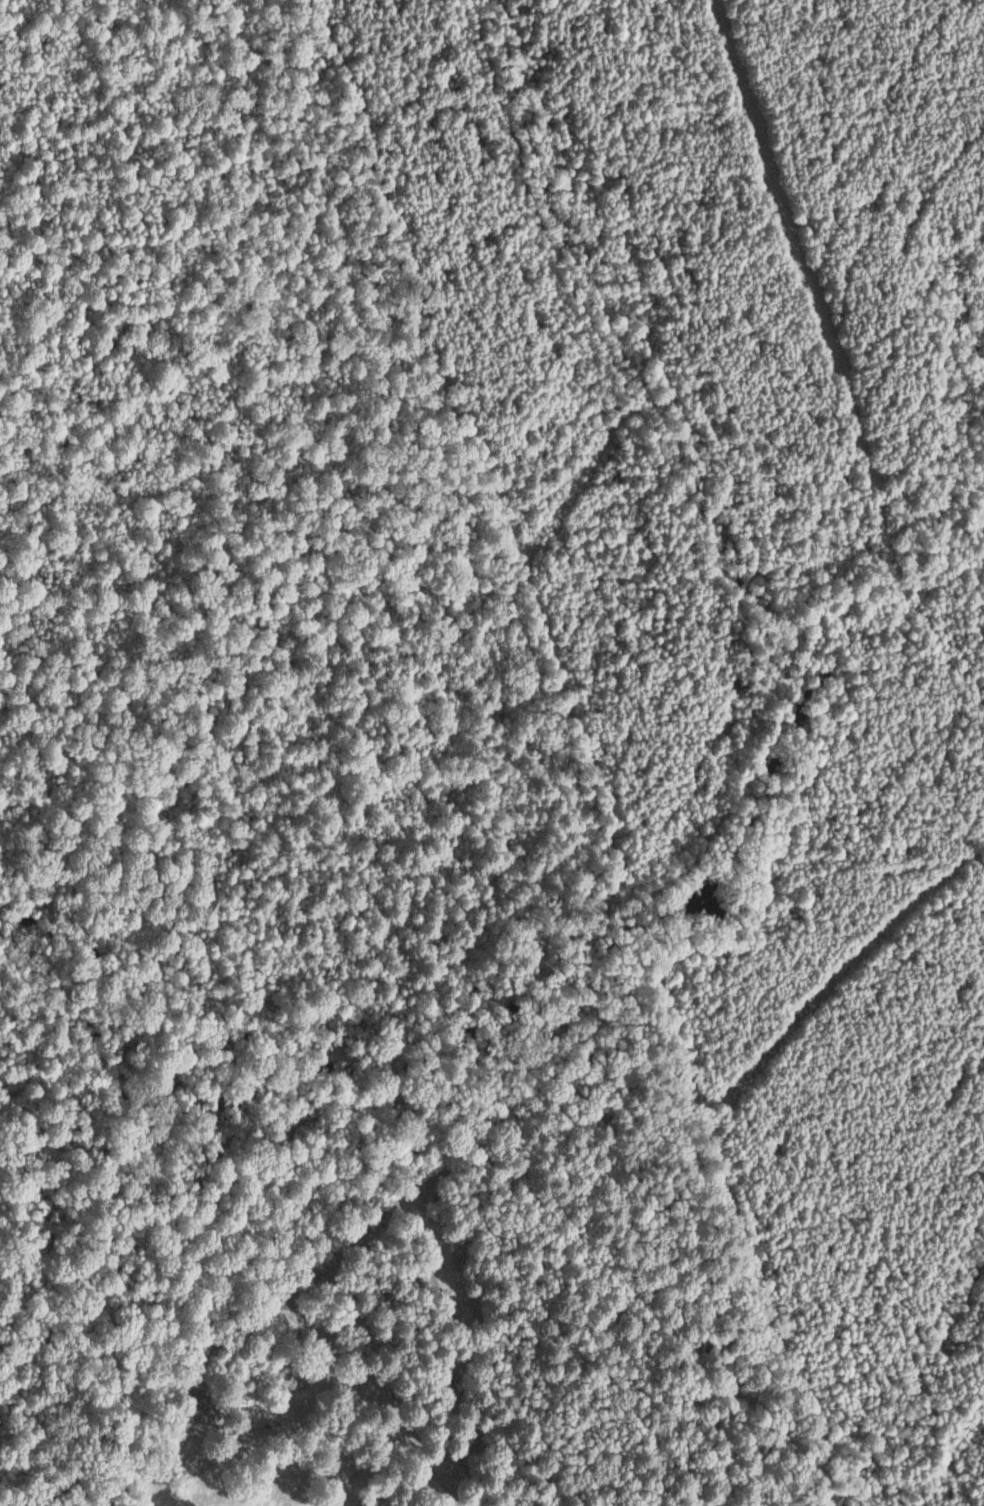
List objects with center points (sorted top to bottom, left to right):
building: (201, 1411)

